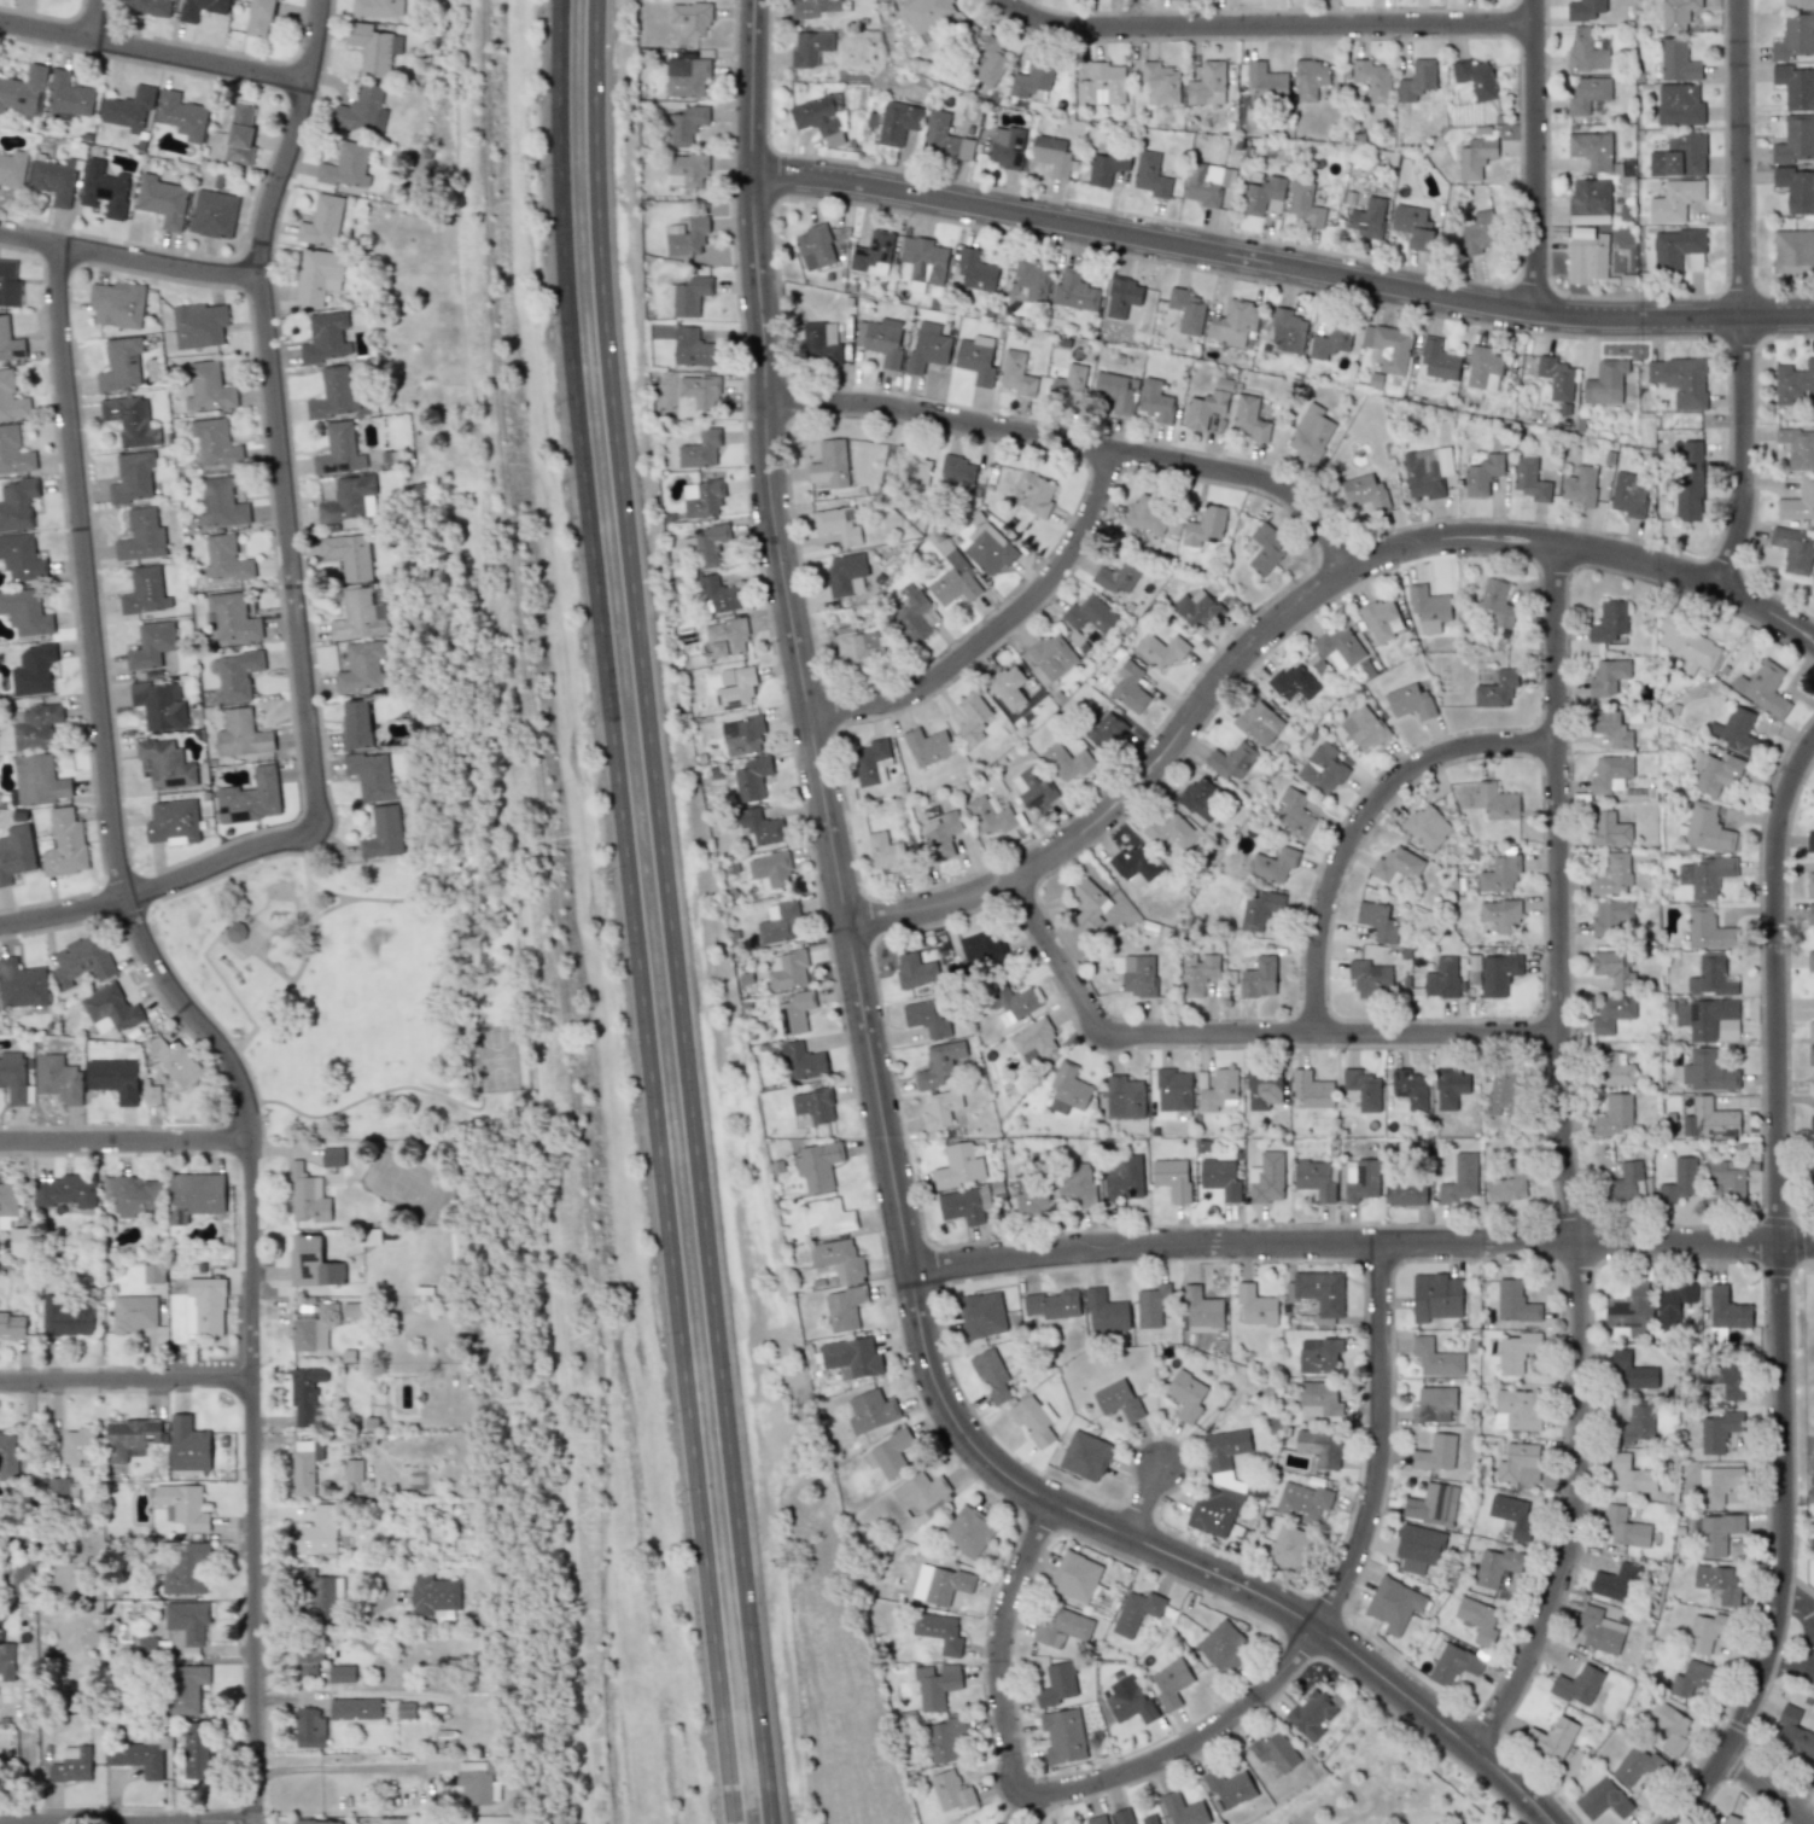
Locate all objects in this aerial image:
building: (1798, 4)
building: (148, 6)
building: (377, 7)
building: (812, 7)
building: (200, 8)
building: (1585, 10)
building: (1678, 13)
building: (259, 17)
building: (690, 17)
road: (89, 19)
road: (1267, 24)
building: (1795, 36)
building: (373, 48)
building: (809, 48)
road: (152, 51)
building: (1585, 51)
building: (988, 60)
building: (1676, 60)
building: (1475, 77)
building: (688, 78)
building: (1310, 78)
building: (1372, 78)
building: (1417, 80)
building: (1032, 81)
building: (1265, 81)
building: (1160, 82)
building: (1102, 85)
building: (1207, 85)
building: (1796, 87)
building: (23, 91)
building: (1588, 95)
building: (68, 97)
building: (1679, 104)
building: (128, 109)
building: (361, 110)
building: (180, 115)
building: (818, 118)
building: (897, 122)
building: (683, 126)
building: (239, 135)
building: (944, 138)
rooftop solar panel: (1017, 140)
building: (1795, 140)
building: (1005, 146)
building: (1591, 150)
building: (1051, 155)
building: (1680, 155)
road: (1539, 156)
rooftop solar panel: (1017, 157)
building: (1475, 157)
building: (346, 165)
building: (12, 168)
building: (686, 170)
building: (1150, 175)
building: (54, 180)
building: (1203, 183)
building: (105, 188)
building: (1796, 188)
building: (1261, 194)
building: (162, 200)
building: (1675, 200)
building: (1590, 202)
building: (1305, 204)
building: (212, 214)
building: (1367, 217)
building: (321, 221)
building: (1415, 225)
building: (1478, 233)
building: (688, 237)
building: (815, 246)
building: (1678, 250)
building: (1792, 251)
building: (873, 254)
road: (129, 255)
building: (1586, 255)
building: (923, 261)
road: (1282, 263)
building: (975, 270)
building: (317, 275)
building: (1030, 281)
building: (8, 282)
building: (1074, 291)
building: (689, 295)
road: (1742, 296)
building: (1122, 299)
building: (117, 303)
building: (1186, 310)
building: (1232, 322)
building: (199, 325)
building: (1288, 332)
building: (326, 337)
building: (880, 340)
building: (10, 342)
building: (1330, 342)
building: (927, 346)
building: (693, 348)
building: (1387, 348)
rooftop solar panel: (19, 352)
building: (975, 357)
building: (121, 363)
building: (1483, 368)
building: (1016, 374)
building: (1556, 378)
building: (1680, 380)
building: (1605, 381)
building: (1792, 383)
building: (1068, 384)
building: (208, 387)
building: (696, 391)
building: (1115, 391)
building: (333, 392)
building: (11, 397)
building: (1155, 402)
road: (273, 407)
building: (1205, 408)
building: (1249, 418)
building: (130, 420)
building: (1310, 433)
building: (215, 443)
road: (1077, 444)
building: (1797, 447)
building: (699, 448)
building: (339, 450)
building: (13, 451)
building: (830, 464)
building: (1427, 471)
building: (917, 473)
building: (955, 473)
building: (1482, 474)
building: (132, 477)
building: (1529, 479)
building: (1690, 479)
building: (1580, 486)
building: (1365, 491)
building: (1034, 493)
building: (1628, 494)
building: (701, 497)
building: (346, 499)
rooftop solar panel: (212, 502)
building: (1797, 502)
building: (17, 503)
building: (220, 503)
building: (1148, 514)
building: (838, 523)
building: (1205, 525)
building: (141, 535)
building: (705, 546)
building: (987, 548)
building: (1792, 548)
building: (1265, 549)
building: (349, 554)
building: (21, 558)
building: (224, 558)
building: (1116, 575)
building: (847, 577)
building: (955, 579)
building: (145, 590)
building: (716, 593)
building: (1494, 604)
building: (1428, 607)
building: (1196, 608)
building: (25, 612)
road: (1290, 612)
building: (915, 613)
building: (1090, 614)
building: (358, 616)
building: (231, 617)
building: (1380, 620)
building: (1609, 623)
road: (996, 625)
building: (1084, 635)
building: (727, 637)
building: (151, 645)
building: (1687, 645)
building: (857, 646)
building: (1337, 647)
building: (1161, 649)
road: (310, 653)
building: (1050, 657)
building: (362, 668)
building: (33, 670)
building: (235, 675)
building: (1608, 676)
building: (1294, 681)
building: (1010, 687)
building: (1128, 687)
building: (1763, 687)
building: (735, 688)
building: (1495, 689)
rooftop solar panel: (721, 700)
rooftop solar panel: (735, 701)
building: (1410, 701)
building: (159, 704)
building: (972, 717)
building: (1259, 722)
building: (356, 723)
building: (35, 725)
building: (1610, 727)
building: (1363, 728)
building: (1104, 729)
building: (1736, 730)
building: (240, 734)
building: (741, 735)
building: (927, 746)
building: (869, 761)
building: (1231, 761)
building: (1066, 762)
building: (165, 764)
building: (1322, 768)
building: (1610, 773)
building: (1715, 773)
building: (371, 774)
building: (751, 777)
building: (37, 780)
rooftop solar panel: (175, 780)
building: (1031, 789)
building: (250, 797)
building: (1200, 797)
building: (1497, 802)
building: (1295, 812)
building: (991, 815)
road: (1363, 818)
building: (760, 826)
building: (1427, 826)
building: (1707, 827)
building: (1609, 828)
building: (1171, 829)
building: (383, 833)
building: (943, 834)
building: (1810, 838)
building: (64, 844)
building: (16, 852)
building: (888, 852)
building: (1136, 862)
building: (1273, 864)
building: (1396, 864)
road: (305, 870)
building: (769, 870)
building: (1499, 873)
building: (1612, 875)
building: (1705, 876)
road: (161, 884)
building: (1809, 885)
building: (1090, 903)
building: (1259, 909)
railway: (554, 911)
road: (631, 913)
road: (667, 913)
building: (1809, 914)
building: (1500, 915)
building: (1610, 917)
building: (1376, 921)
building: (778, 922)
building: (1707, 928)
road: (206, 948)
building: (981, 950)
building: (1809, 960)
building: (81, 961)
building: (1614, 967)
building: (787, 969)
building: (915, 969)
building: (1197, 972)
building: (1498, 973)
building: (1137, 974)
building: (1710, 977)
building: (1259, 978)
building: (1370, 978)
building: (1441, 978)
building: (22, 984)
park: (362, 991)
building: (1011, 1003)
building: (110, 1009)
rooftop solar panel: (1696, 1009)
building: (794, 1012)
building: (1611, 1013)
building: (927, 1016)
building: (1708, 1019)
road: (205, 1025)
building: (1812, 1030)
road: (1241, 1033)
road: (241, 1041)
building: (1033, 1041)
road: (477, 1043)
building: (1810, 1055)
building: (175, 1061)
building: (801, 1061)
building: (939, 1065)
building: (1614, 1068)
building: (1707, 1072)
building: (16, 1078)
building: (57, 1078)
building: (113, 1078)
road: (871, 1078)
building: (1410, 1086)
building: (1068, 1089)
building: (1262, 1089)
building: (1311, 1089)
building: (1363, 1089)
building: (1450, 1089)
building: (1173, 1090)
building: (1219, 1092)
building: (1500, 1092)
building: (152, 1094)
building: (1124, 1097)
building: (813, 1105)
building: (940, 1108)
building: (1614, 1114)
building: (1709, 1119)
building: (1810, 1125)
road: (127, 1138)
building: (332, 1156)
road: (1562, 1160)
building: (817, 1164)
building: (958, 1165)
rooftop solar panel: (1360, 1173)
building: (1124, 1177)
building: (1172, 1177)
building: (1219, 1177)
building: (1266, 1178)
building: (1314, 1178)
building: (1728, 1178)
building: (1360, 1179)
building: (1459, 1179)
building: (1679, 1181)
building: (1626, 1183)
building: (1074, 1184)
building: (1506, 1185)
building: (65, 1191)
building: (1406, 1193)
building: (1812, 1193)
building: (133, 1195)
building: (194, 1195)
building: (307, 1196)
building: (8, 1199)
building: (964, 1205)
building: (827, 1216)
road: (881, 1237)
building: (19, 1241)
road: (1359, 1243)
building: (838, 1259)
rooftop solar panel: (307, 1263)
building: (311, 1263)
building: (152, 1272)
building: (1318, 1290)
road: (1784, 1293)
building: (1436, 1296)
building: (1513, 1301)
building: (1052, 1304)
building: (1255, 1305)
building: (1673, 1305)
building: (204, 1306)
building: (1150, 1306)
building: (844, 1307)
building: (351, 1309)
building: (1201, 1310)
building: (1632, 1310)
building: (1104, 1311)
building: (133, 1313)
building: (981, 1315)
building: (66, 1317)
building: (11, 1324)
building: (308, 1334)
building: (1516, 1351)
building: (1318, 1354)
building: (851, 1358)
building: (1435, 1358)
building: (1631, 1371)
building: (990, 1375)
road: (127, 1379)
building: (1720, 1379)
building: (1186, 1394)
building: (305, 1395)
building: (1318, 1398)
building: (1118, 1399)
building: (1434, 1404)
building: (1516, 1410)
building: (870, 1411)
building: (1034, 1418)
building: (1637, 1424)
building: (1719, 1430)
building: (128, 1437)
road: (1384, 1441)
building: (187, 1444)
building: (77, 1447)
building: (1224, 1447)
building: (1319, 1447)
building: (892, 1452)
building: (8, 1453)
building: (1435, 1453)
building: (1085, 1456)
building: (1518, 1463)
building: (304, 1465)
building: (352, 1470)
building: (1632, 1473)
building: (1723, 1487)
building: (58, 1488)
building: (922, 1493)
road: (1141, 1498)
building: (1302, 1502)
building: (1433, 1504)
building: (182, 1505)
building: (1214, 1510)
building: (1512, 1514)
building: (1625, 1527)
building: (317, 1531)
building: (969, 1531)
building: (1717, 1533)
building: (1290, 1548)
building: (1418, 1548)
building: (1495, 1567)
building: (187, 1570)
building: (1074, 1575)
building: (18, 1579)
building: (1614, 1579)
building: (937, 1583)
building: (1717, 1583)
building: (316, 1591)
building: (432, 1595)
building: (1393, 1604)
building: (1136, 1612)
building: (1477, 1620)
road: (322, 1621)
building: (186, 1622)
building: (1061, 1626)
building: (939, 1631)
building: (1600, 1631)
building: (1704, 1632)
building: (141, 1645)
building: (1223, 1645)
building: (308, 1654)
road: (1792, 1660)
building: (6, 1661)
building: (1453, 1663)
rooftop solar panel: (1682, 1671)
building: (340, 1673)
building: (1691, 1678)
building: (1057, 1683)
building: (1170, 1683)
building: (935, 1684)
building: (1577, 1684)
building: (185, 1688)
building: (1128, 1701)
building: (354, 1708)
building: (406, 1711)
building: (1311, 1714)
building: (308, 1726)
building: (1668, 1726)
building: (1793, 1732)
building: (1062, 1735)
building: (1551, 1737)
building: (944, 1739)
building: (197, 1750)
building: (1273, 1752)
road: (23, 1753)
building: (136, 1758)
building: (71, 1765)
building: (1638, 1765)
road: (339, 1767)
building: (477, 1783)
road: (1768, 1785)
building: (1229, 1787)
road: (1046, 1790)
building: (950, 1791)
building: (1603, 1799)
building: (1182, 1810)
building: (1131, 1817)
building: (1096, 1819)
building: (1732, 1819)
road: (128, 1822)
building: (315, 1822)

